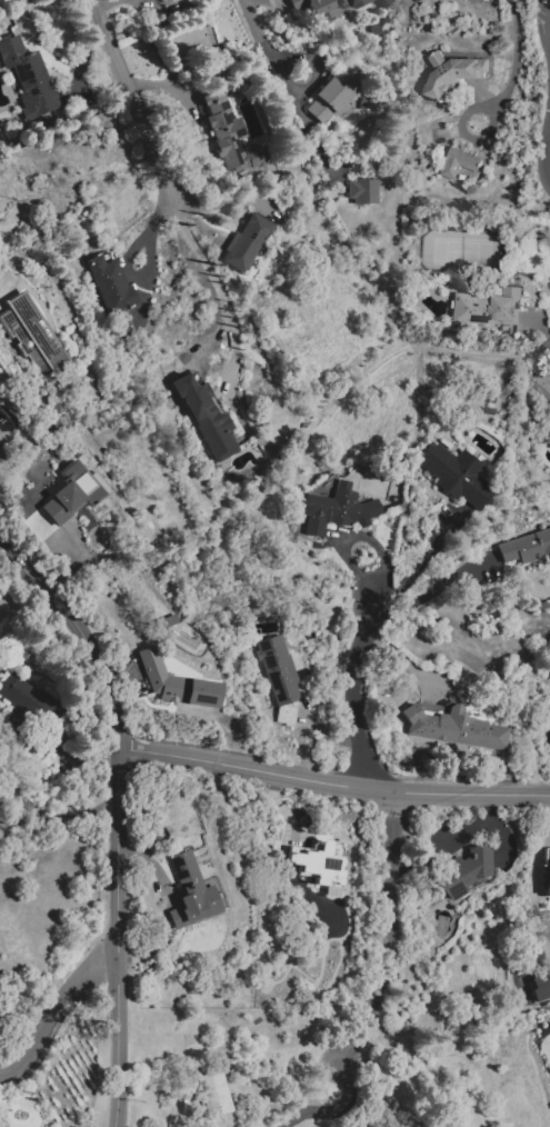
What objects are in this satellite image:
building: (147, 0)
building: (151, 0)
building: (418, 0)
building: (358, 2)
building: (341, 3)
building: (317, 9)
road: (256, 29)
building: (374, 31)
road: (513, 53)
building: (452, 74)
building: (32, 78)
road: (293, 88)
building: (332, 96)
road: (133, 102)
road: (310, 136)
road: (463, 136)
building: (230, 137)
road: (543, 159)
building: (461, 162)
building: (363, 193)
building: (246, 242)
building: (112, 290)
road: (223, 293)
building: (488, 309)
building: (34, 338)
road: (547, 346)
road: (542, 365)
building: (210, 425)
building: (456, 475)
building: (74, 489)
building: (338, 511)
building: (42, 517)
building: (526, 548)
road: (421, 559)
road: (431, 590)
building: (278, 677)
building: (176, 682)
road: (354, 695)
building: (29, 699)
building: (457, 724)
road: (332, 784)
road: (117, 816)
road: (47, 818)
building: (547, 862)
building: (319, 864)
building: (460, 874)
building: (548, 878)
building: (191, 894)
road: (161, 907)
road: (389, 929)
building: (540, 987)
road: (53, 1014)
building: (213, 1090)
road: (336, 1109)

